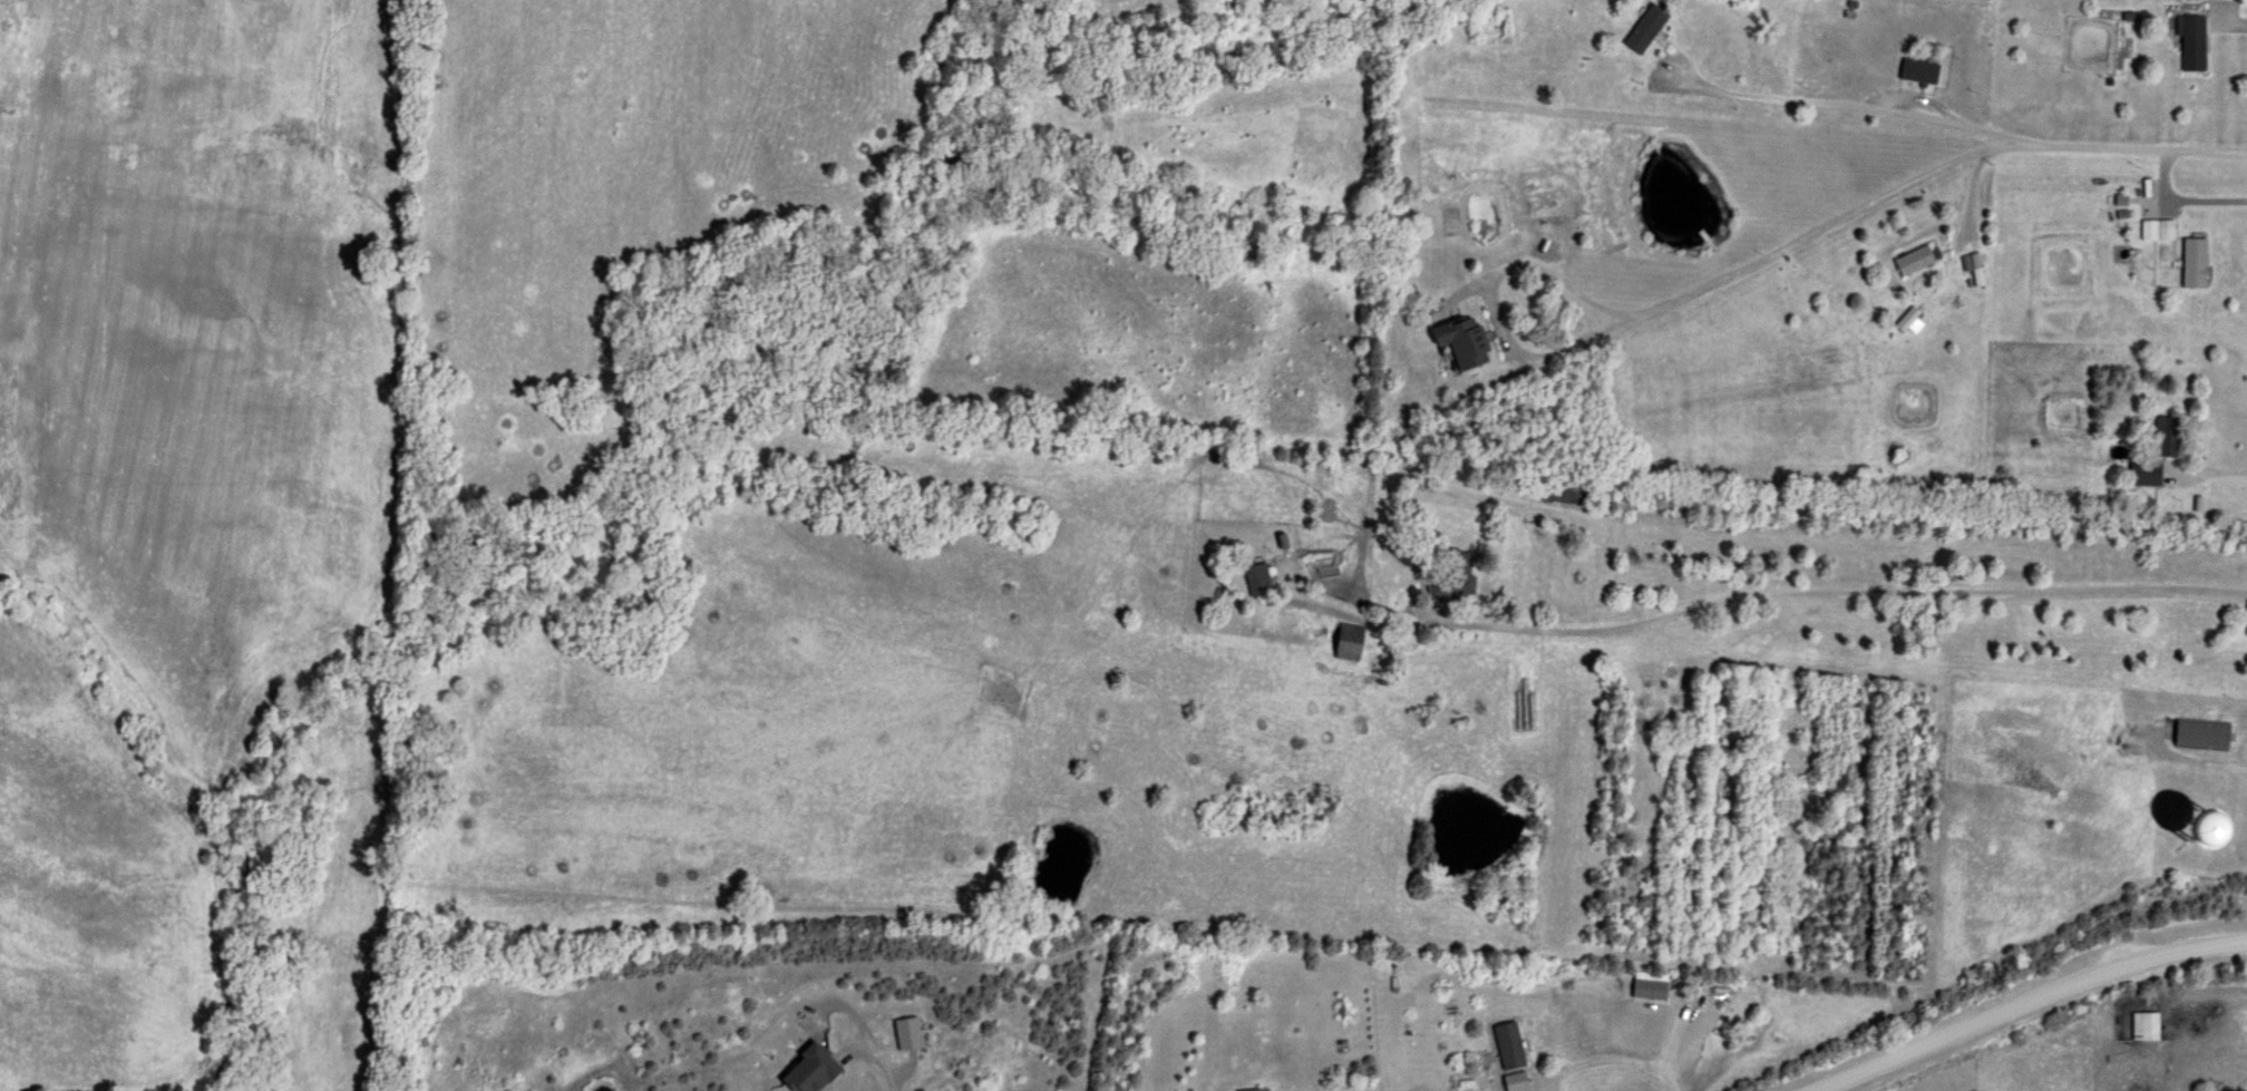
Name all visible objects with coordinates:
road: (2224, 26)
building: (1640, 30)
building: (2186, 43)
building: (1915, 72)
road: (1859, 103)
road: (1926, 169)
road: (2177, 203)
building: (2159, 254)
building: (1909, 261)
road: (1488, 298)
building: (1456, 342)
building: (2163, 436)
road: (2210, 467)
building: (2140, 474)
building: (1457, 578)
building: (1254, 579)
road: (1839, 590)
building: (1343, 642)
building: (2196, 733)
road: (2195, 758)
building: (1643, 988)
road: (2030, 1002)
building: (2140, 1025)
road: (859, 1031)
road: (1669, 1034)
road: (1606, 1060)
building: (1244, 1090)

